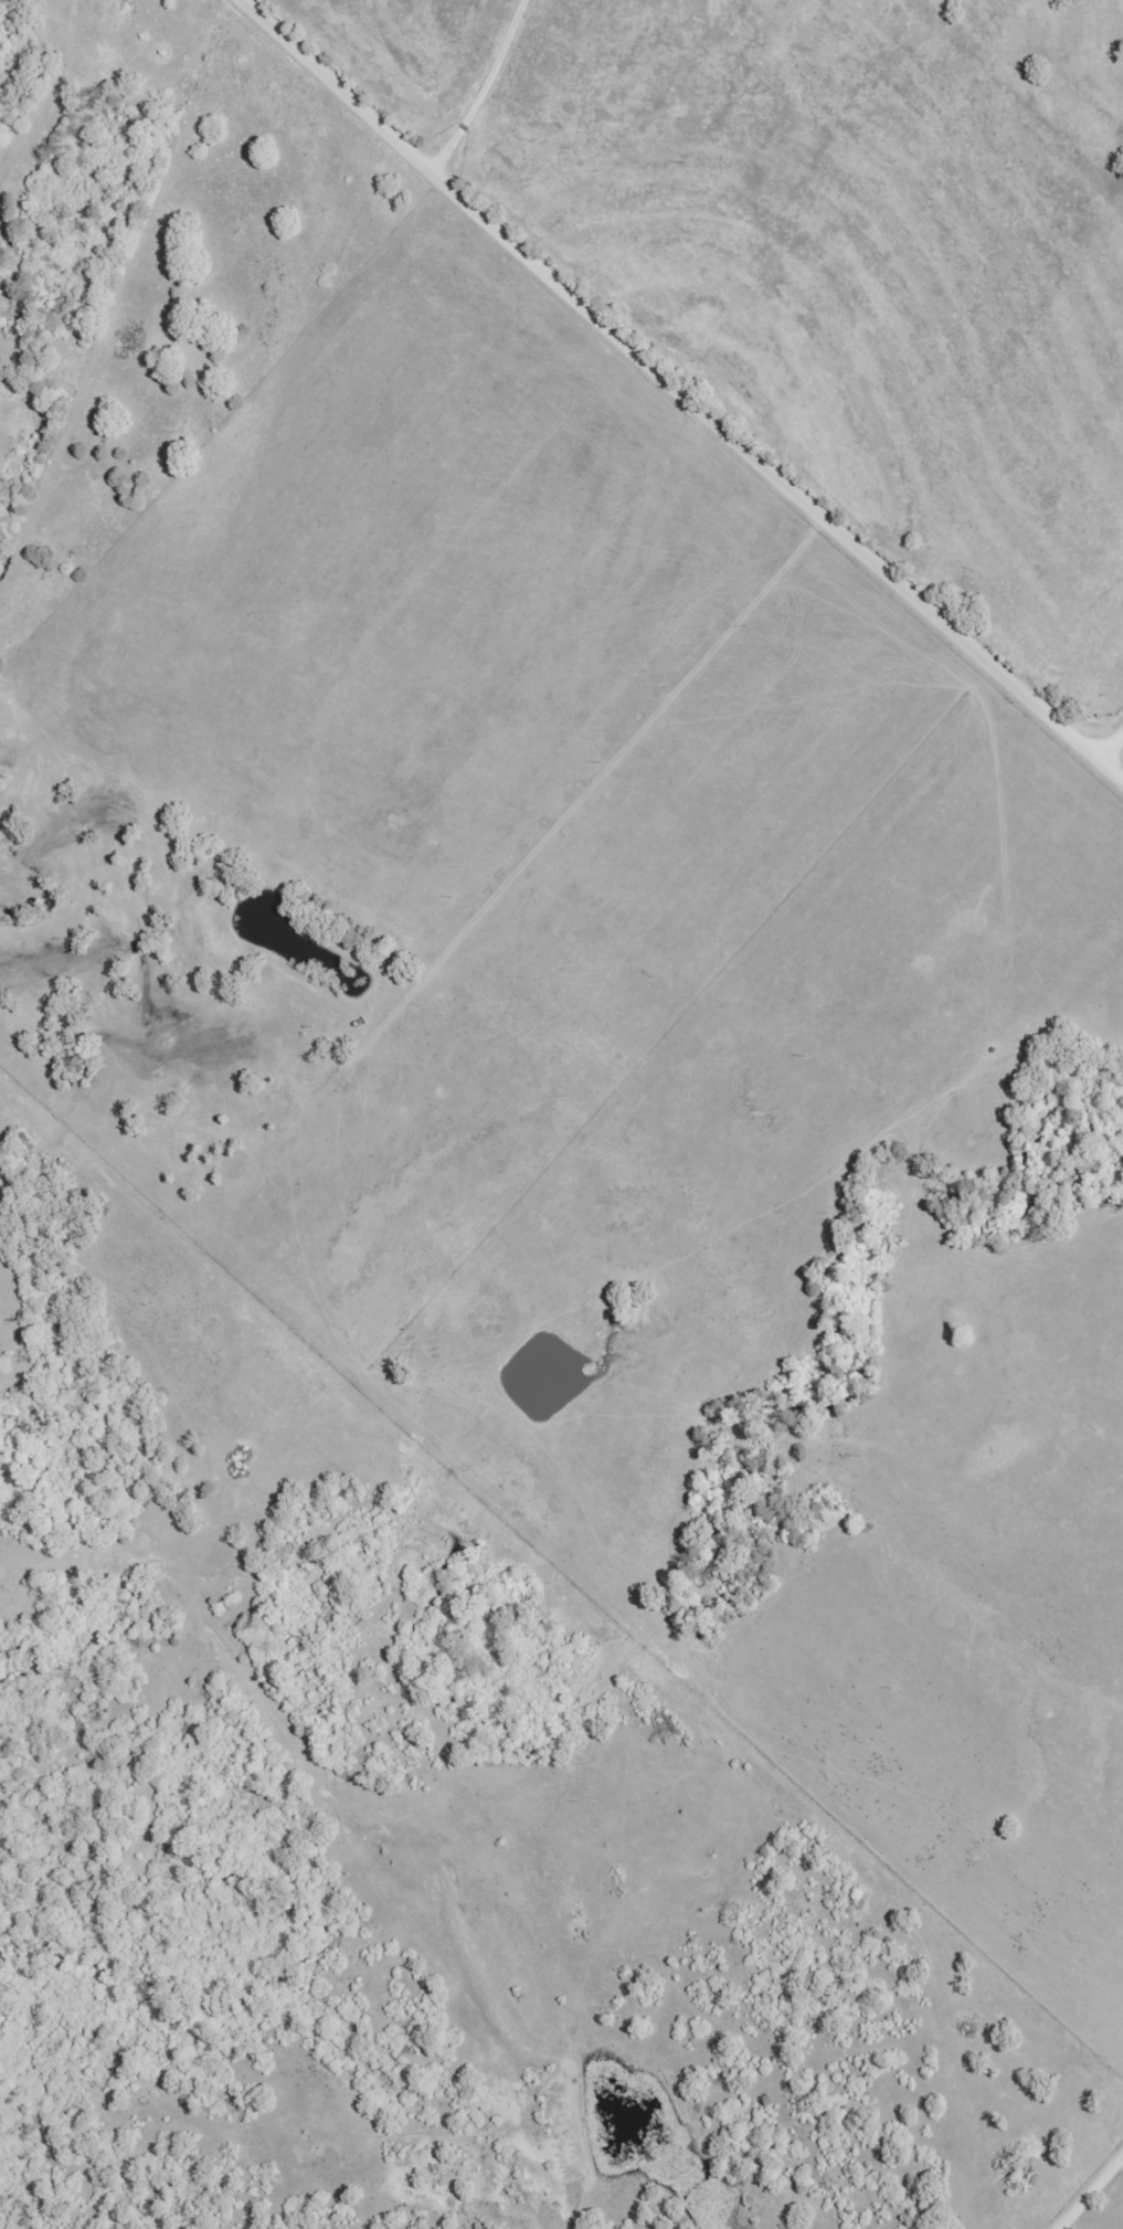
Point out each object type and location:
road: (680, 391)
road: (1111, 740)
road: (1084, 2188)

